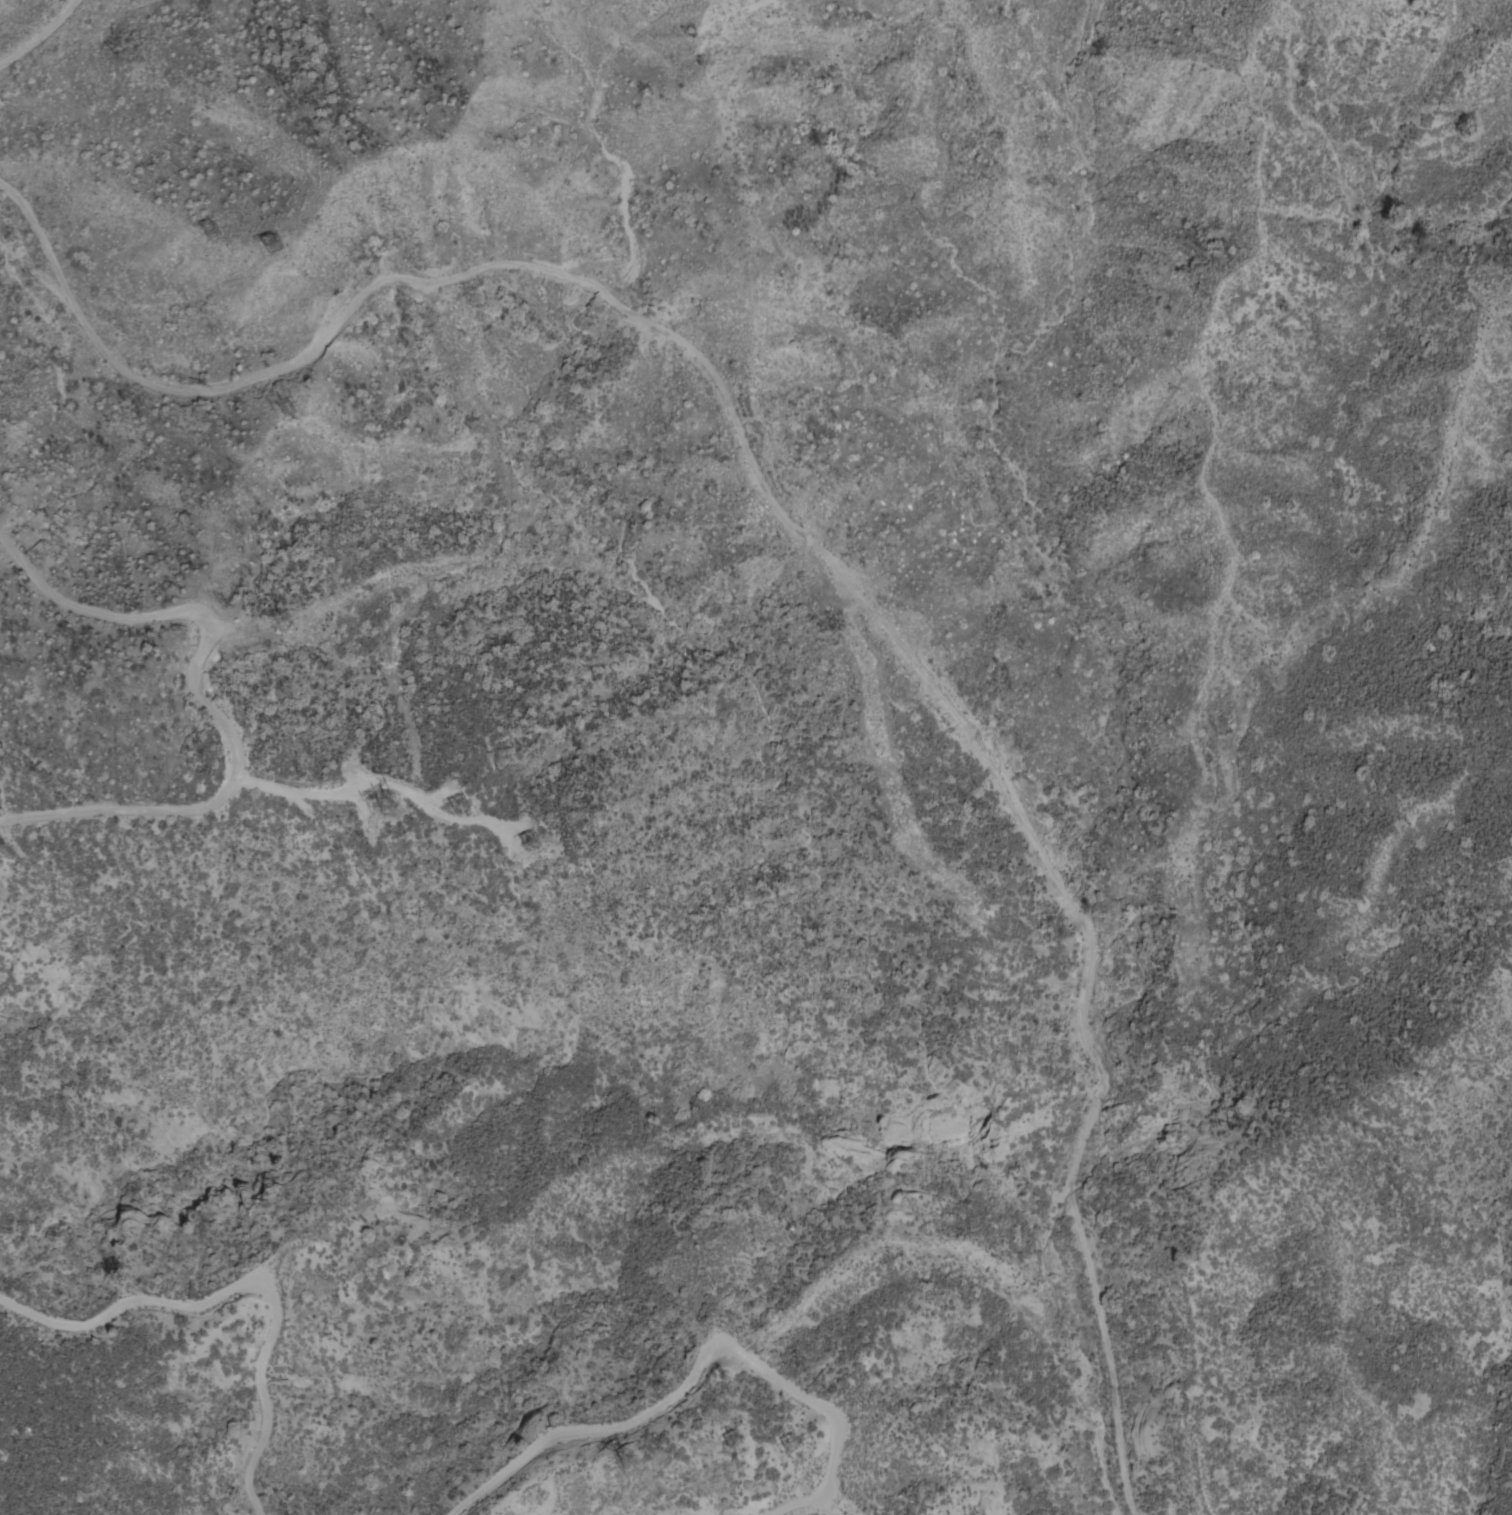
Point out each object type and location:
power tower: (219, 235)
power tower: (277, 243)
power tower: (292, 417)
road: (804, 540)
power tower: (284, 618)
power tower: (387, 803)
power tower: (462, 804)
power tower: (535, 836)
power tower: (734, 1440)
power tower: (792, 1442)
power tower: (627, 1462)

